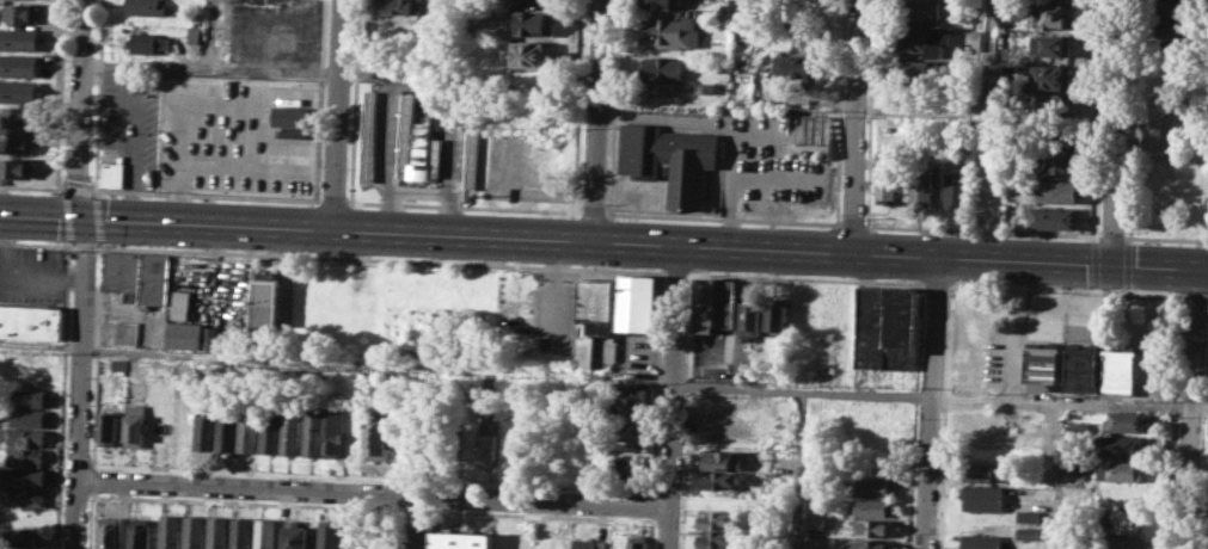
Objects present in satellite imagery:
building: (667, 2)
building: (393, 6)
building: (1175, 6)
building: (148, 7)
building: (924, 11)
building: (23, 13)
building: (1051, 16)
building: (532, 21)
building: (1177, 27)
parking lot: (276, 32)
building: (672, 32)
building: (194, 35)
road: (210, 35)
building: (19, 38)
building: (926, 41)
building: (149, 42)
building: (1050, 45)
building: (527, 54)
building: (18, 64)
building: (798, 64)
road: (211, 68)
building: (663, 69)
building: (928, 73)
building: (1051, 76)
building: (18, 91)
road: (60, 93)
road: (97, 97)
road: (319, 99)
road: (355, 99)
building: (1053, 104)
road: (577, 105)
road: (614, 106)
road: (80, 109)
road: (977, 111)
road: (839, 112)
road: (870, 113)
road: (338, 115)
building: (292, 116)
building: (20, 117)
road: (1096, 117)
road: (1133, 118)
road: (439, 121)
parking lot: (130, 122)
road: (595, 122)
road: (858, 127)
road: (1115, 131)
building: (370, 134)
building: (1063, 140)
building: (18, 142)
building: (417, 144)
building: (472, 152)
building: (669, 159)
building: (1061, 165)
building: (16, 167)
building: (114, 172)
building: (924, 181)
building: (888, 185)
road: (32, 187)
road: (76, 187)
road: (59, 189)
building: (957, 190)
building: (1054, 190)
road: (207, 195)
road: (336, 201)
road: (465, 205)
road: (594, 212)
road: (63, 215)
building: (1051, 216)
traffic signals: (84, 217)
road: (723, 218)
road: (852, 224)
road: (97, 230)
road: (982, 230)
road: (1112, 236)
road: (1091, 238)
road: (1165, 239)
road: (1127, 240)
road: (37, 241)
road: (603, 243)
road: (1092, 263)
road: (490, 264)
road: (1126, 264)
parking lot: (33, 272)
road: (663, 272)
road: (676, 272)
building: (140, 273)
road: (804, 278)
road: (932, 284)
road: (1020, 288)
road: (1111, 291)
road: (1153, 294)
road: (1195, 295)
road: (1207, 296)
building: (638, 301)
building: (726, 302)
building: (270, 303)
building: (706, 304)
building: (778, 314)
building: (595, 316)
building: (752, 320)
building: (32, 322)
building: (871, 326)
building: (901, 327)
building: (128, 332)
building: (188, 334)
building: (213, 338)
road: (41, 344)
building: (121, 365)
building: (1043, 365)
building: (1083, 368)
building: (1121, 368)
road: (376, 369)
building: (748, 370)
road: (81, 382)
road: (737, 388)
road: (62, 394)
building: (636, 396)
building: (31, 397)
road: (670, 397)
road: (930, 402)
road: (1069, 402)
road: (802, 406)
road: (1190, 407)
road: (686, 411)
road: (915, 415)
building: (30, 417)
road: (944, 417)
building: (1126, 420)
road: (1173, 421)
building: (137, 424)
building: (110, 427)
building: (1078, 427)
building: (227, 430)
building: (292, 430)
building: (206, 431)
building: (250, 432)
building: (270, 432)
building: (312, 432)
building: (333, 432)
building: (23, 434)
building: (375, 436)
building: (636, 436)
building: (486, 438)
building: (1121, 444)
building: (589, 450)
road: (1203, 450)
building: (26, 456)
building: (720, 458)
building: (1077, 465)
building: (633, 467)
building: (1121, 470)
road: (264, 471)
building: (986, 471)
building: (23, 475)
road: (1057, 475)
road: (92, 477)
building: (722, 479)
building: (875, 487)
road: (372, 494)
building: (23, 496)
building: (985, 496)
building: (815, 499)
building: (722, 500)
road: (651, 506)
road: (368, 507)
building: (873, 507)
building: (1030, 514)
building: (720, 519)
road: (90, 522)
building: (815, 522)
building: (876, 528)
building: (171, 531)
building: (195, 531)
building: (112, 532)
building: (141, 532)
building: (217, 532)
building: (241, 532)
building: (265, 532)
road: (650, 532)
building: (1029, 532)
building: (329, 533)
building: (295, 535)
building: (23, 536)
building: (415, 538)
building: (718, 538)
building: (461, 539)
building: (983, 541)
building: (1120, 541)
building: (637, 542)
building: (589, 543)
building: (872, 543)

